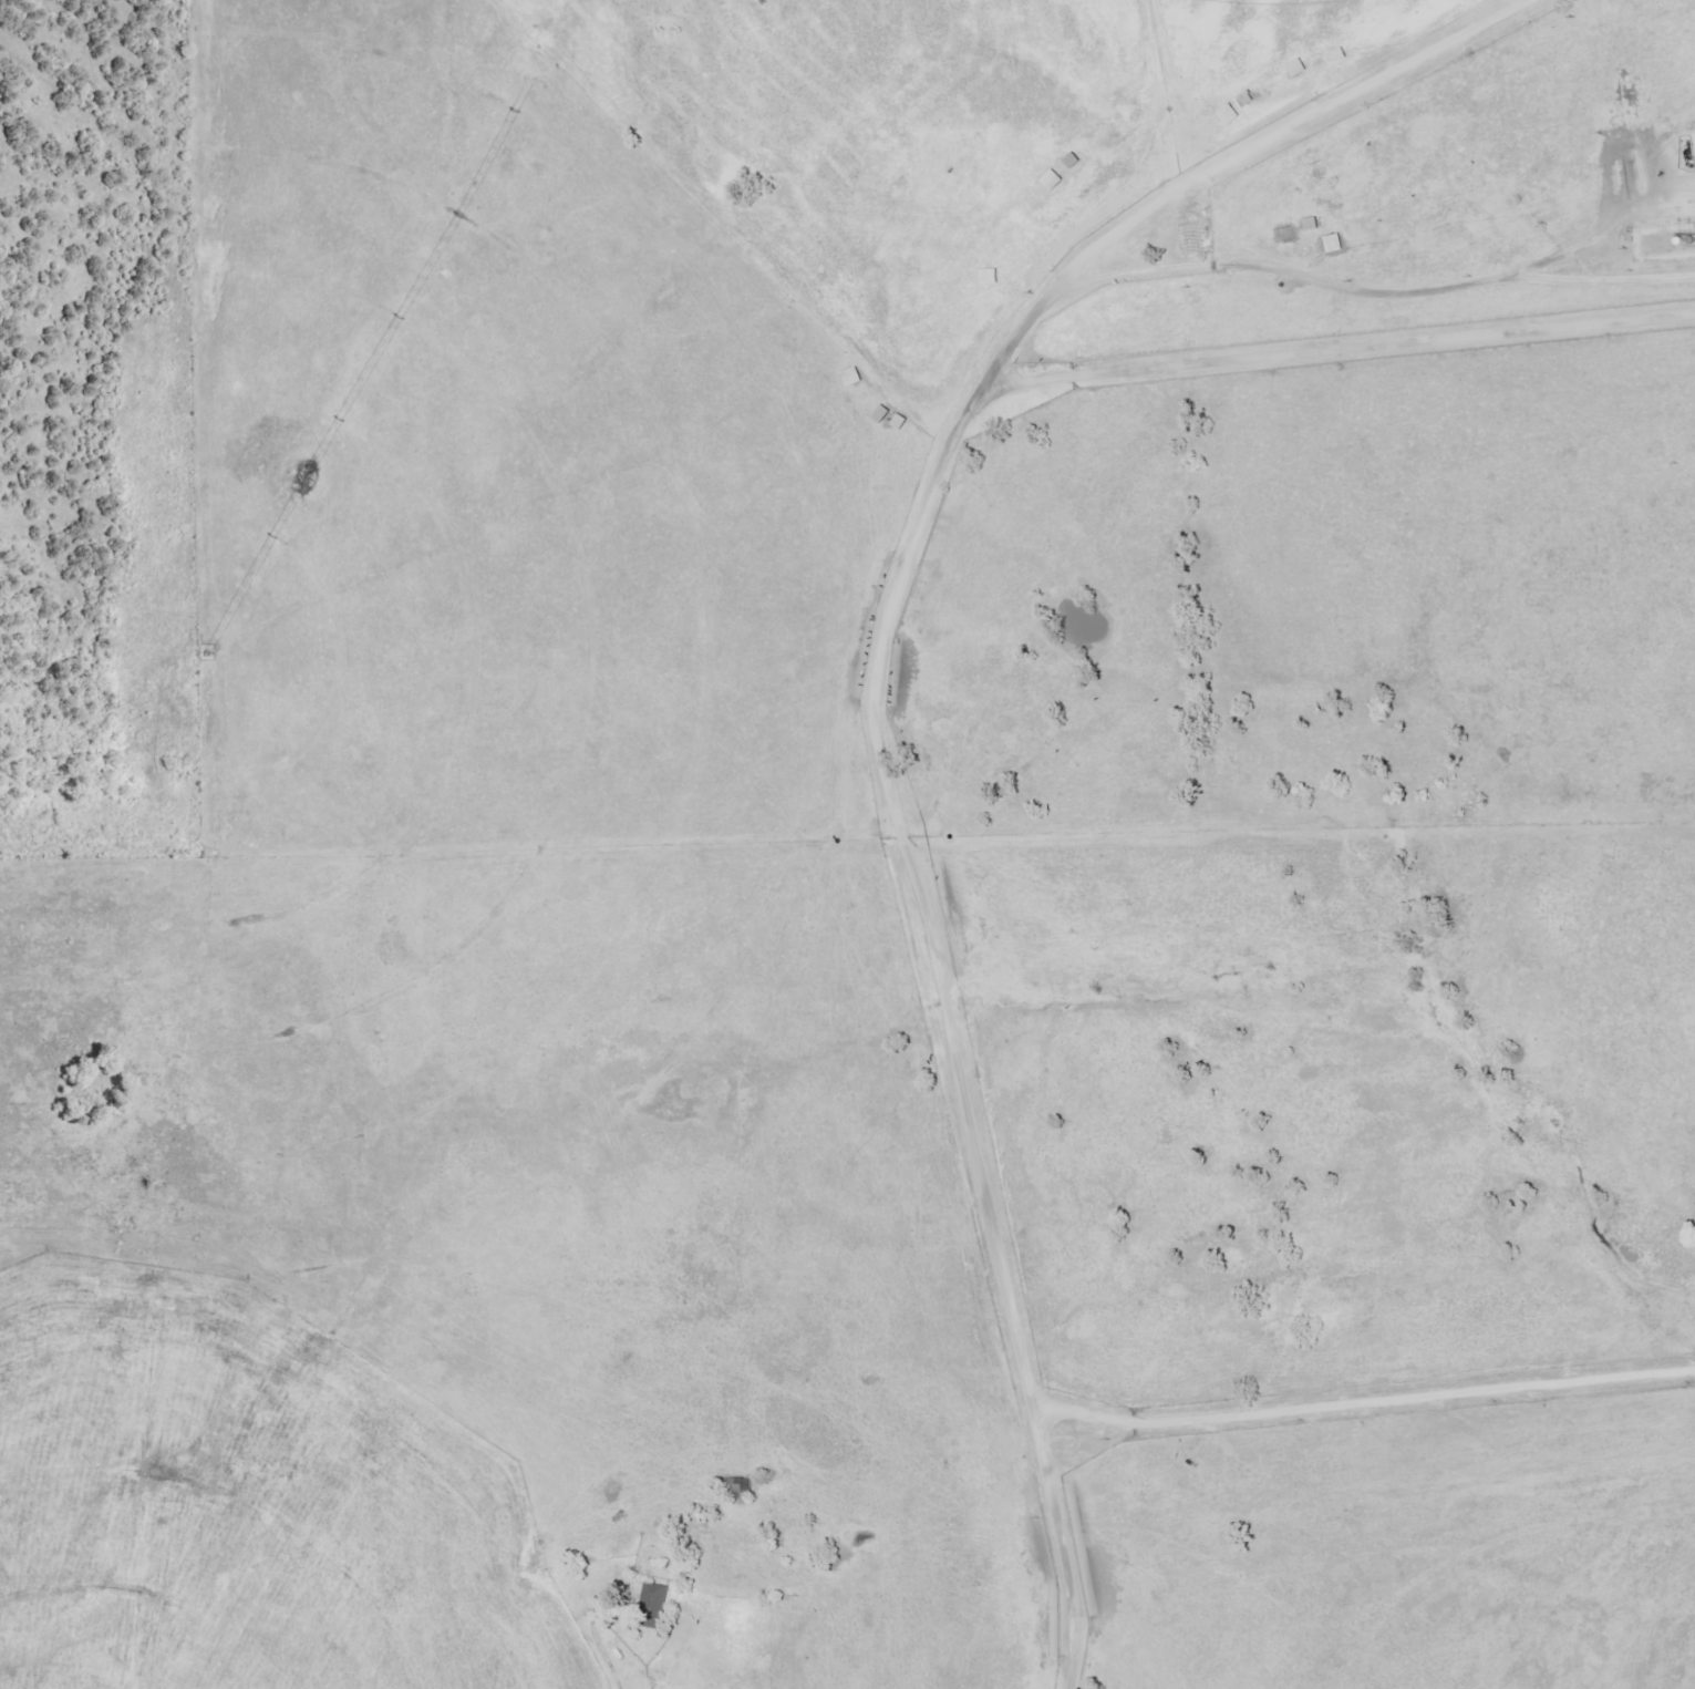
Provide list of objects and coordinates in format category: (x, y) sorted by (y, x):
road: (900, 574)
road: (1402, 1387)
road: (1068, 1398)
road: (1075, 1425)
road: (1067, 1565)
building: (653, 1607)

